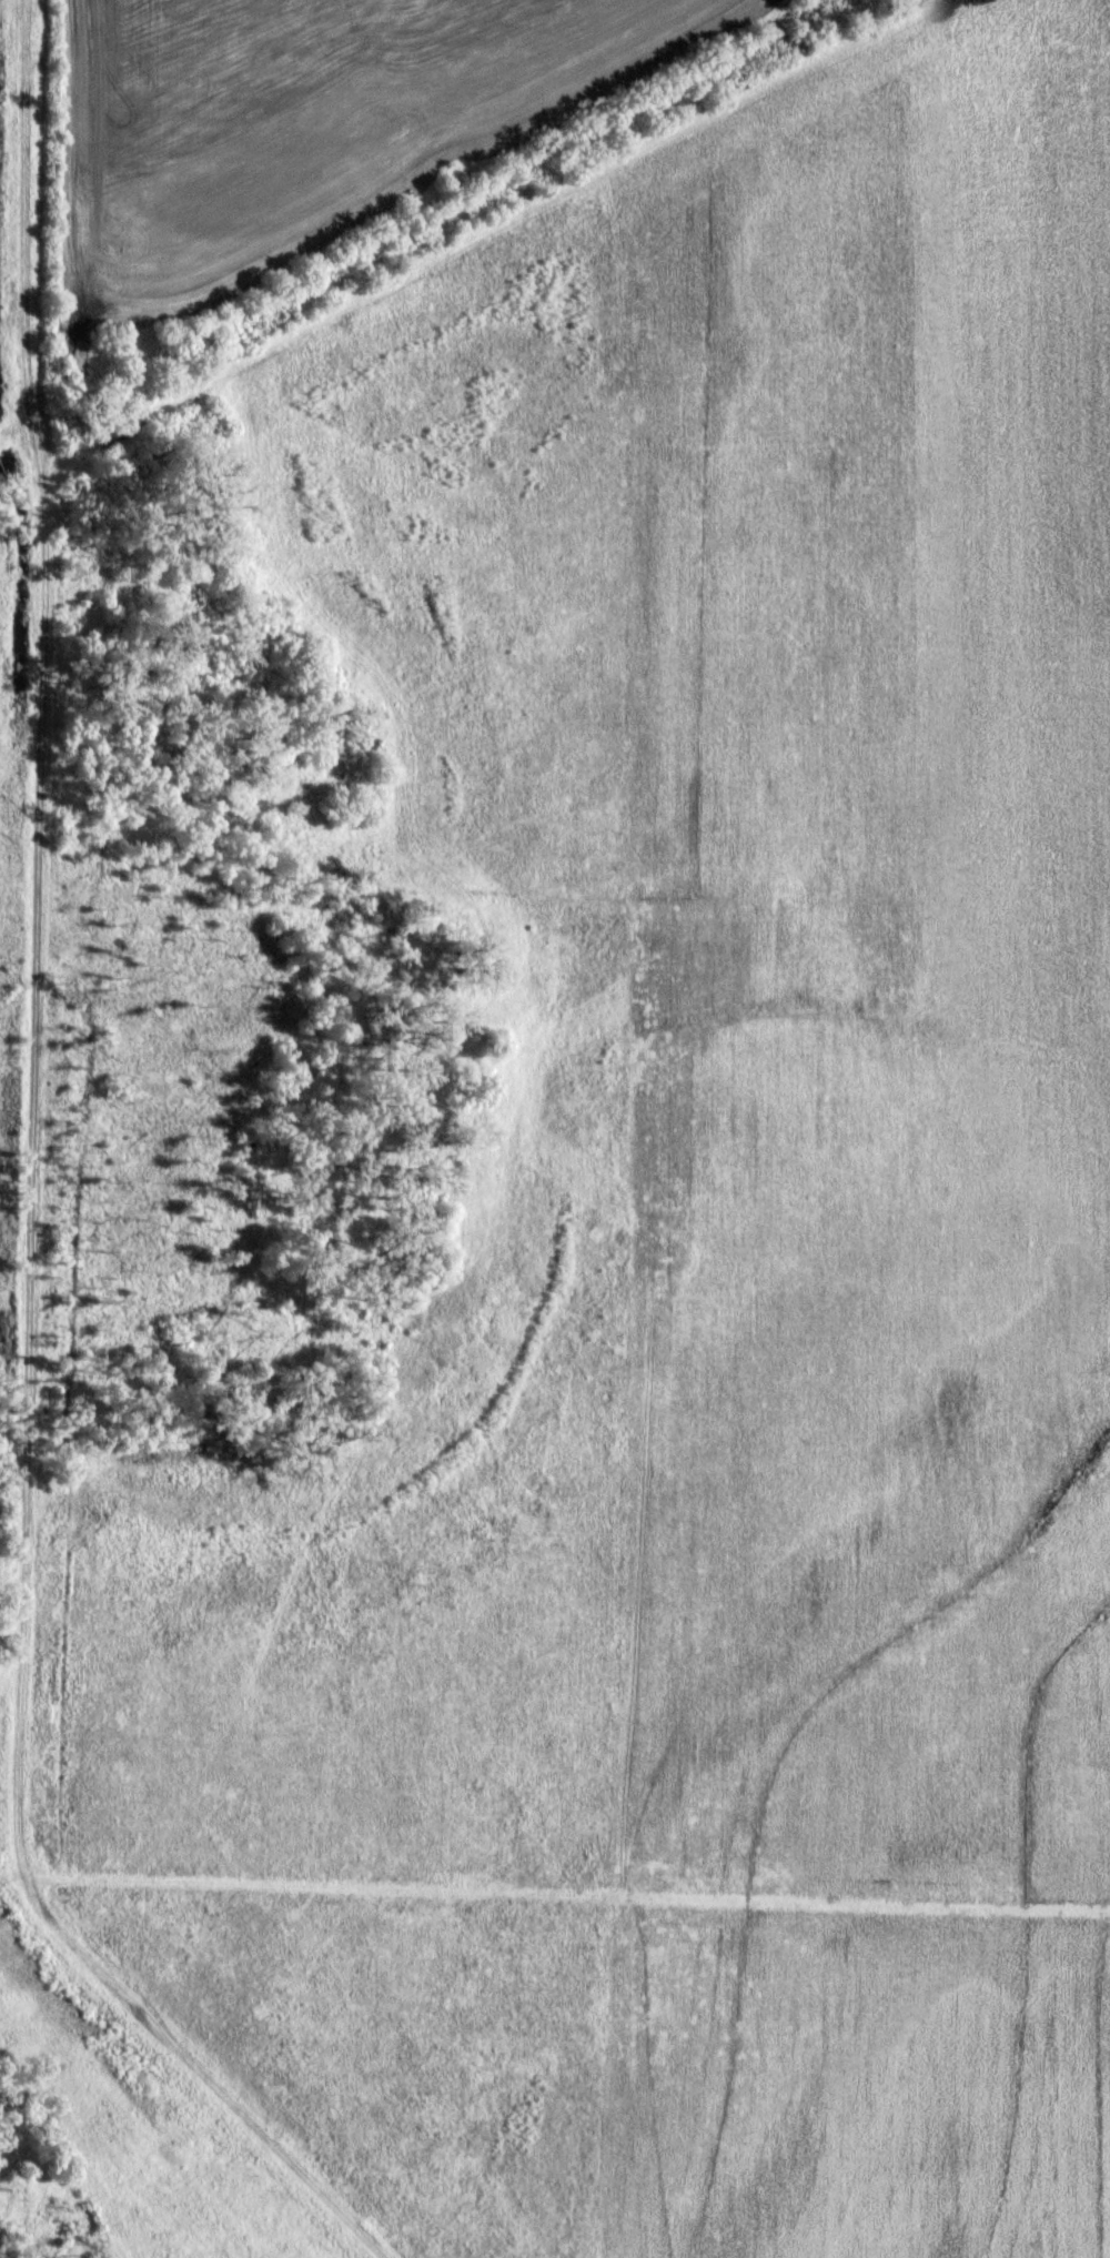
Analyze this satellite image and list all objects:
road: (27, 1199)

